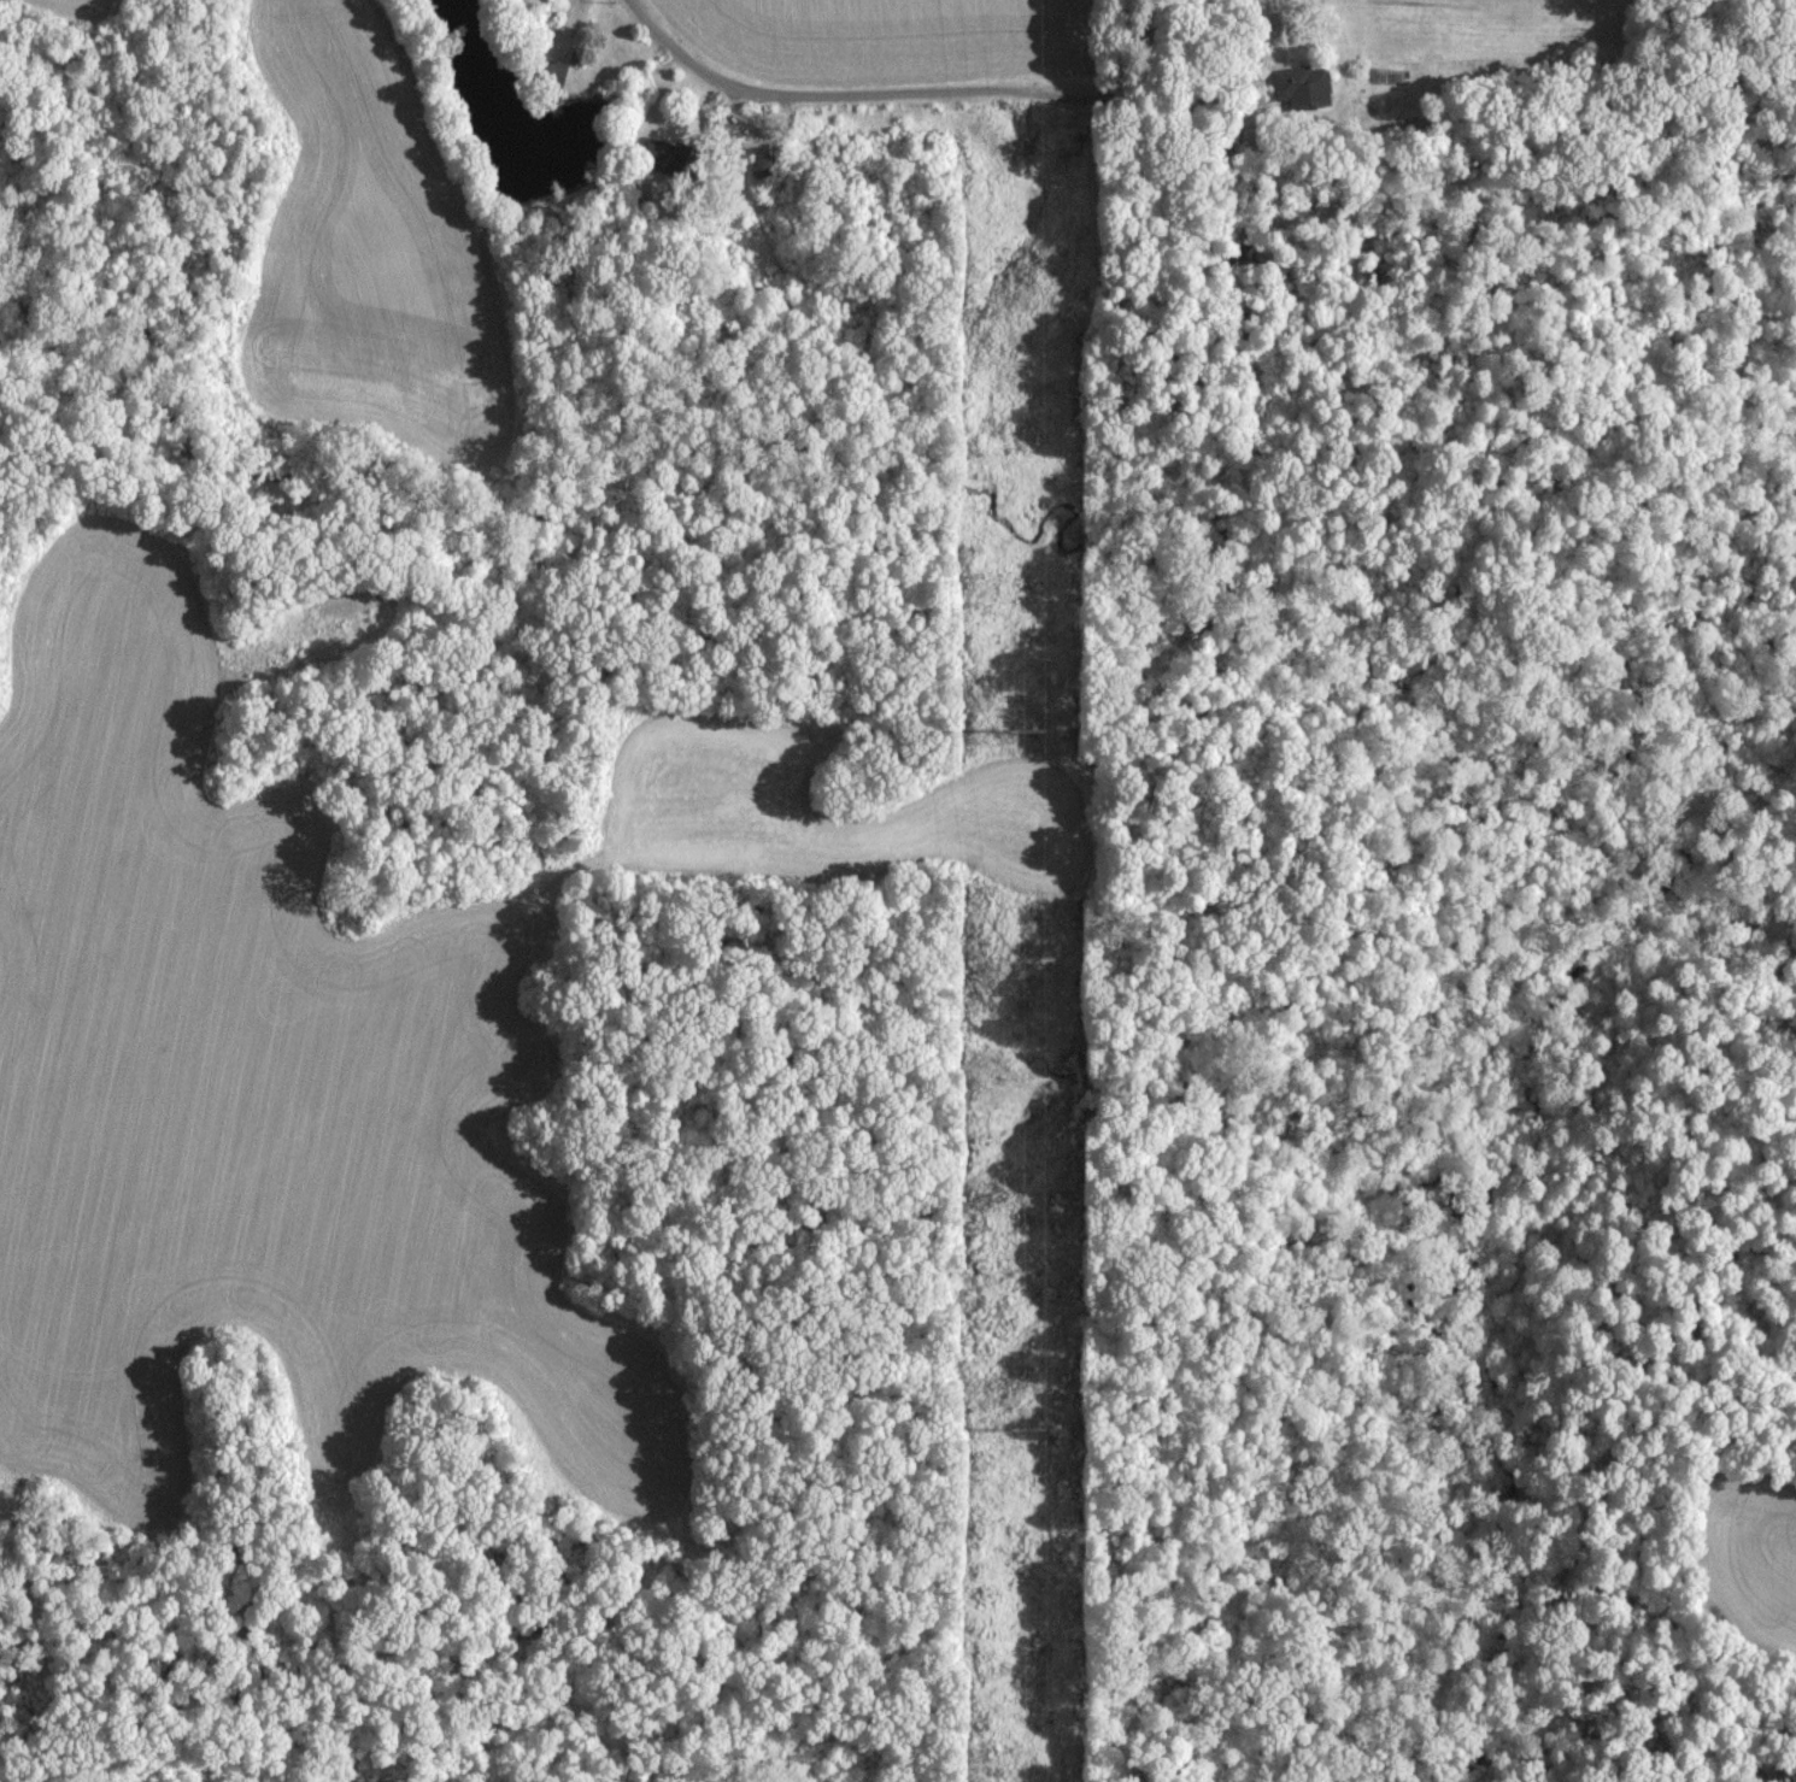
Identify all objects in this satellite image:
building: (1255, 66)
building: (547, 69)
building: (1302, 86)
road: (858, 94)
building: (652, 151)
building: (761, 164)
power tower: (1025, 733)
power tower: (1028, 1429)

